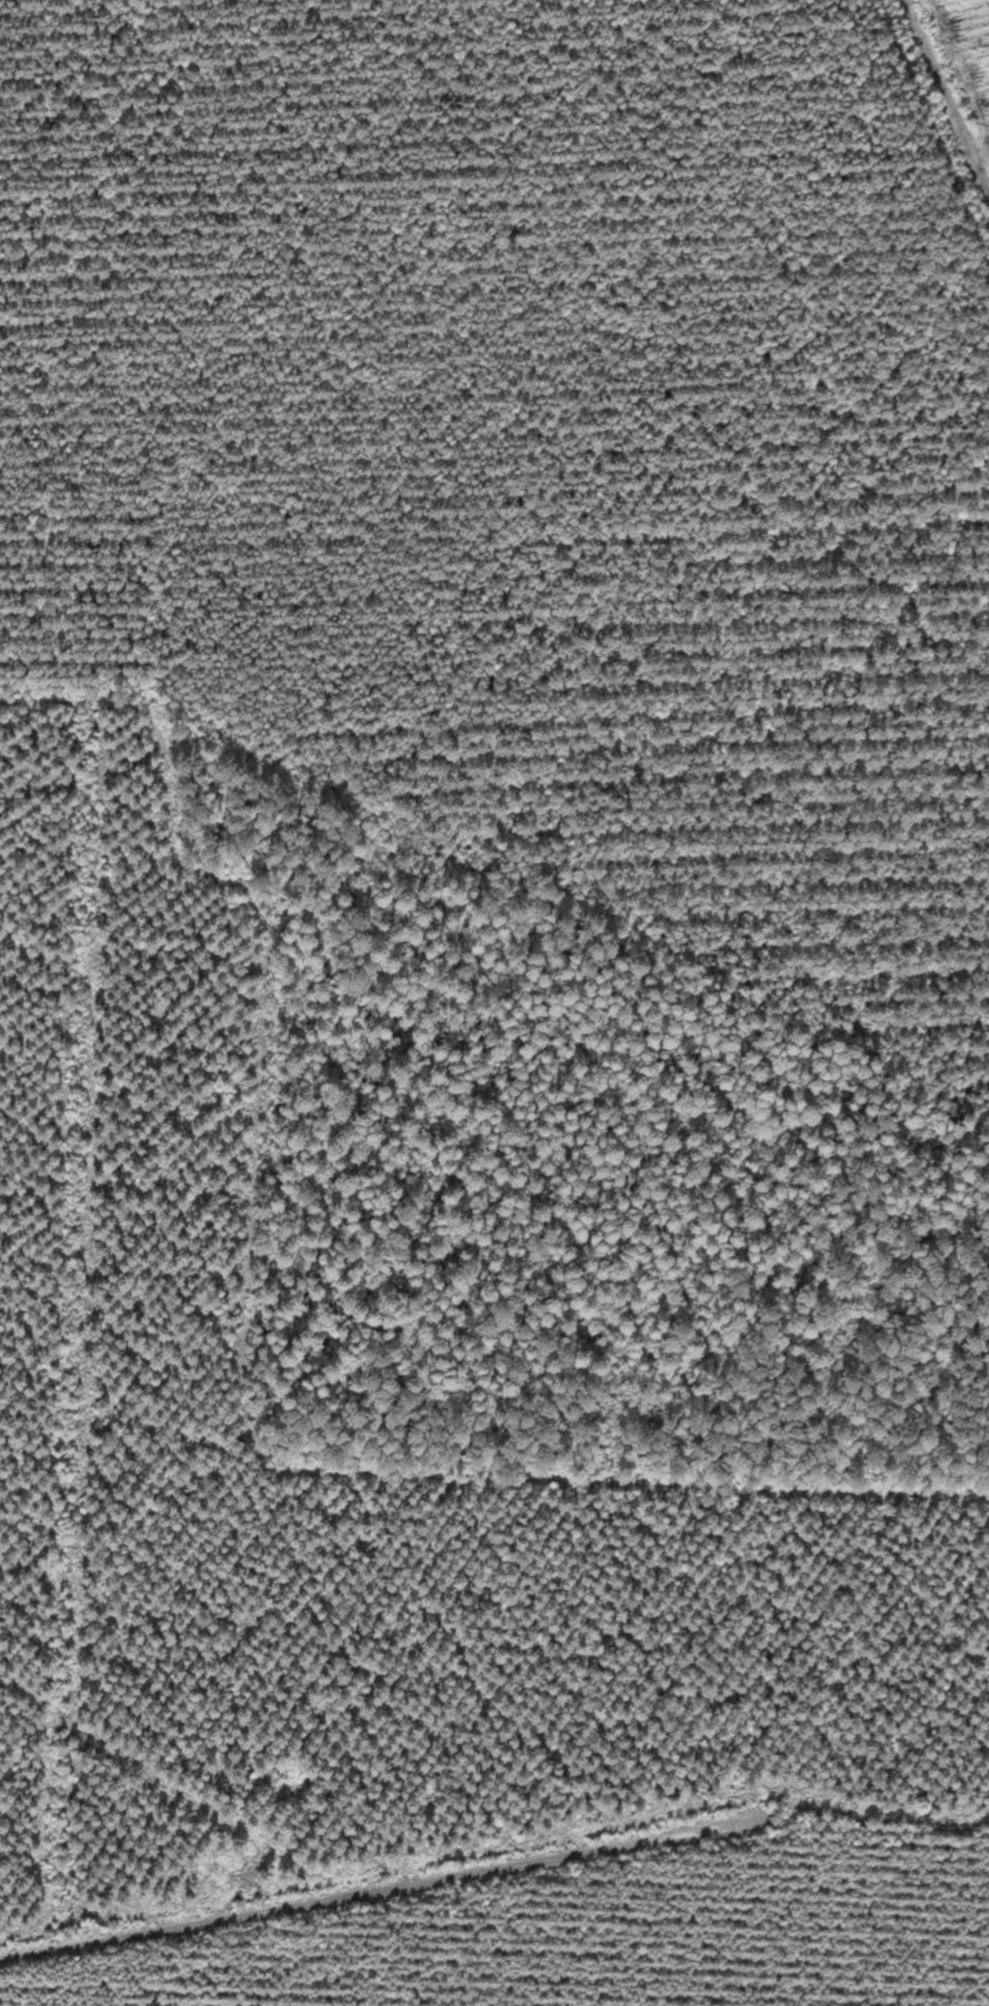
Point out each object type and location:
road: (953, 81)

